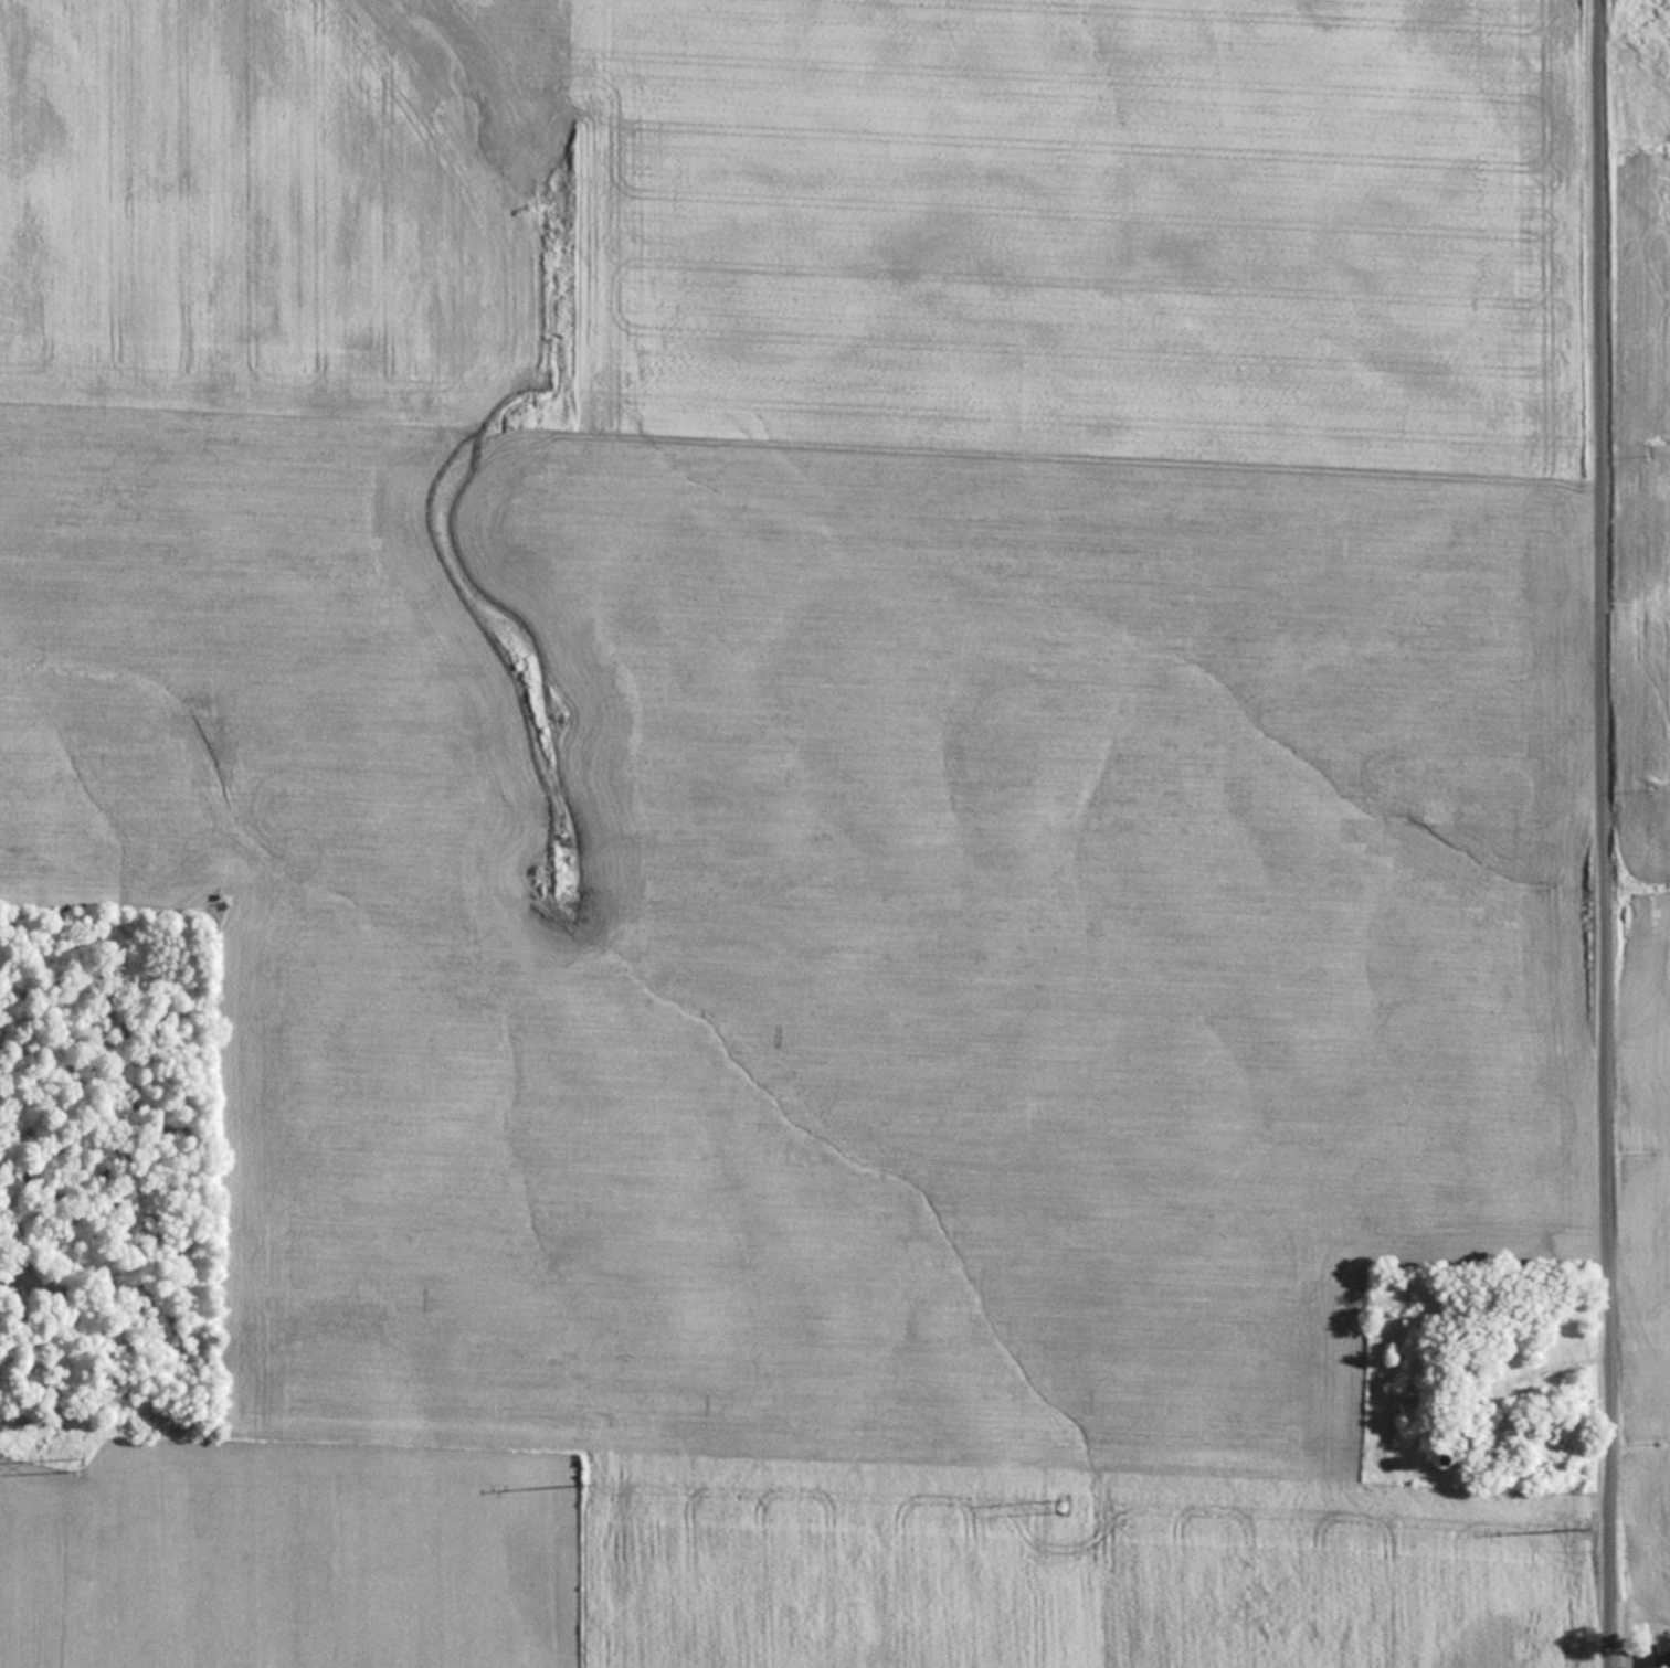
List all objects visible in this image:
road: (1608, 833)
building: (1468, 1412)
power tower: (77, 1460)
power tower: (581, 1480)
power tower: (1066, 1497)
power tower: (1574, 1523)
building: (1661, 1653)

